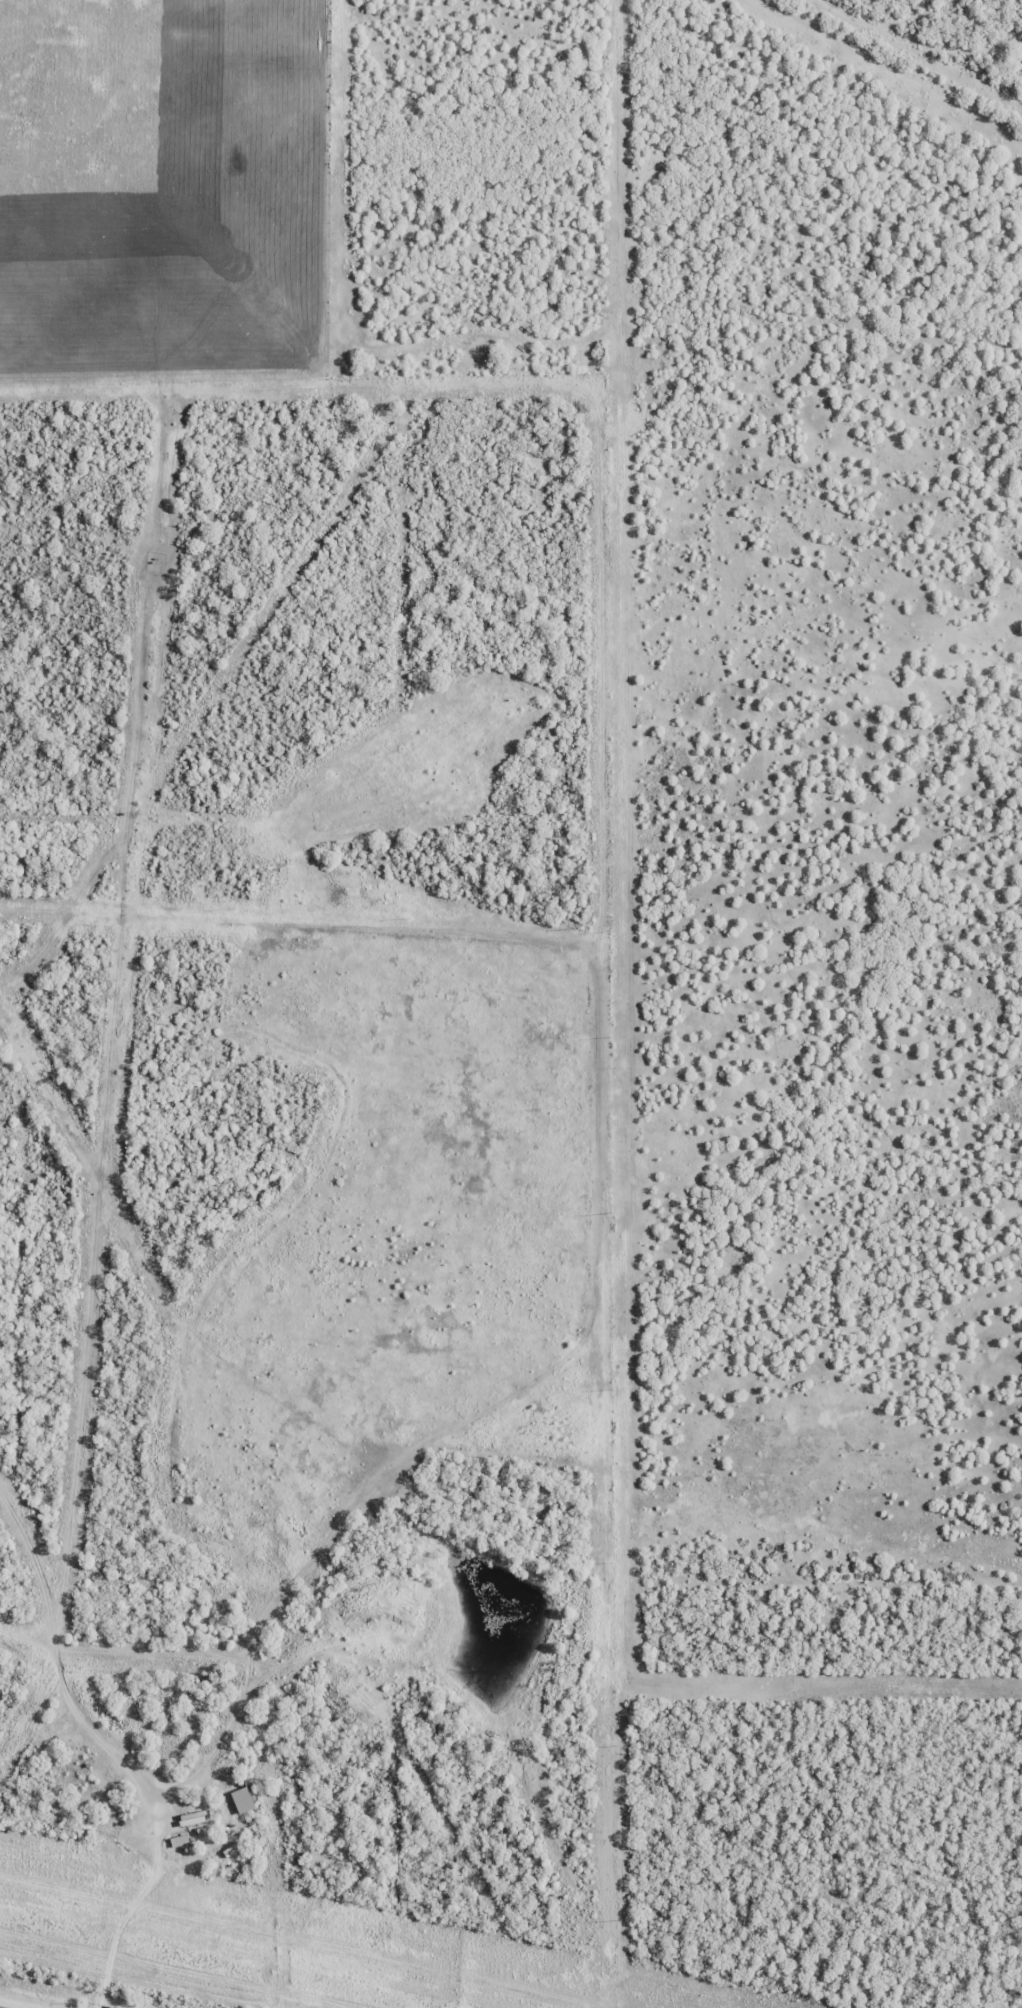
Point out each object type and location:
road: (913, 56)
road: (0, 1534)
building: (242, 1800)
building: (192, 1818)
road: (102, 1836)
building: (179, 1840)

